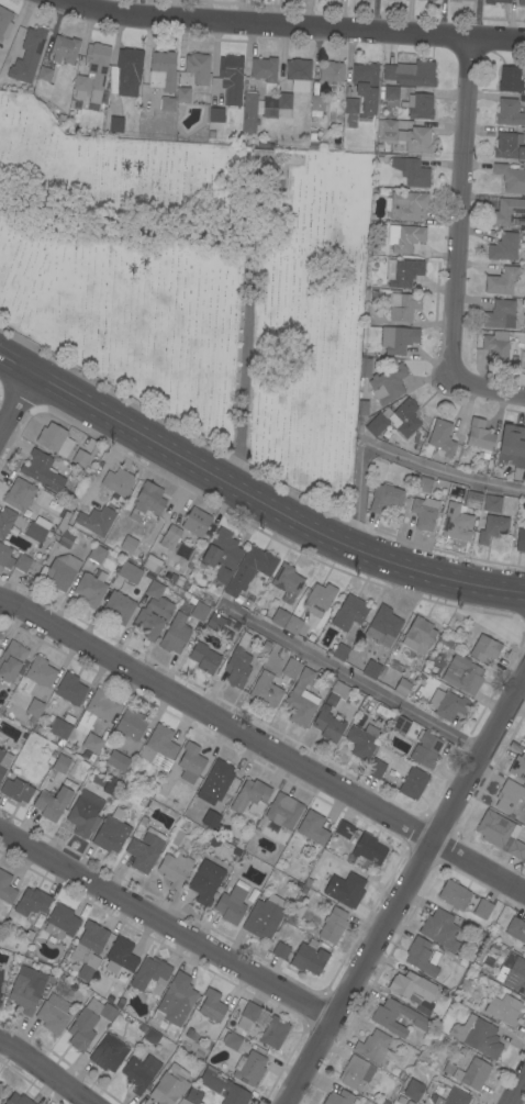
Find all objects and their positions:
building: (431, 0)
building: (461, 0)
building: (495, 1)
building: (521, 2)
building: (4, 22)
road: (288, 30)
building: (64, 49)
building: (27, 56)
building: (80, 67)
building: (198, 67)
building: (264, 69)
building: (127, 70)
building: (163, 71)
building: (331, 71)
building: (92, 73)
building: (298, 74)
building: (411, 74)
building: (112, 79)
building: (231, 79)
building: (511, 79)
building: (43, 81)
building: (67, 90)
building: (388, 92)
building: (182, 94)
building: (361, 94)
building: (200, 99)
building: (283, 100)
building: (269, 102)
building: (316, 102)
building: (53, 103)
building: (70, 103)
building: (167, 103)
building: (403, 103)
building: (420, 105)
building: (249, 112)
building: (509, 113)
building: (215, 114)
building: (115, 124)
building: (405, 135)
building: (524, 135)
building: (509, 146)
building: (411, 171)
building: (511, 178)
road: (455, 199)
building: (406, 205)
building: (506, 212)
building: (406, 238)
building: (506, 246)
building: (521, 256)
building: (402, 272)
building: (501, 281)
park: (198, 285)
building: (373, 292)
building: (403, 306)
building: (500, 314)
building: (517, 336)
building: (398, 339)
building: (495, 346)
building: (366, 368)
building: (388, 384)
road: (478, 388)
road: (16, 404)
building: (361, 415)
building: (395, 420)
building: (479, 437)
building: (442, 438)
building: (54, 439)
building: (513, 449)
building: (462, 451)
road: (394, 454)
building: (79, 458)
building: (454, 464)
building: (42, 471)
building: (118, 482)
building: (424, 484)
building: (19, 494)
building: (384, 497)
road: (254, 498)
building: (472, 500)
building: (147, 501)
building: (491, 503)
building: (423, 514)
building: (5, 521)
building: (94, 521)
building: (196, 522)
building: (456, 523)
building: (523, 523)
building: (491, 527)
building: (36, 533)
building: (65, 538)
building: (170, 538)
building: (520, 539)
building: (129, 544)
building: (97, 554)
building: (221, 555)
building: (5, 557)
building: (22, 562)
building: (152, 564)
building: (249, 569)
building: (59, 571)
building: (129, 572)
building: (287, 582)
building: (90, 589)
building: (154, 589)
building: (319, 599)
building: (119, 607)
building: (199, 611)
building: (348, 613)
building: (150, 616)
building: (279, 617)
building: (216, 624)
building: (292, 625)
building: (383, 626)
building: (175, 634)
building: (418, 635)
building: (266, 645)
building: (484, 648)
building: (338, 651)
building: (203, 658)
building: (11, 660)
building: (237, 663)
building: (291, 668)
building: (370, 669)
building: (40, 672)
building: (462, 674)
road: (349, 680)
building: (402, 688)
building: (70, 689)
building: (265, 690)
building: (336, 693)
building: (301, 699)
building: (450, 706)
building: (34, 710)
building: (94, 711)
building: (346, 714)
building: (131, 724)
building: (327, 724)
building: (401, 725)
building: (59, 728)
building: (524, 739)
building: (364, 741)
building: (92, 744)
building: (159, 748)
road: (261, 749)
building: (425, 749)
building: (116, 760)
building: (4, 761)
building: (190, 762)
building: (60, 763)
building: (517, 767)
building: (376, 769)
building: (220, 779)
building: (412, 783)
building: (15, 790)
building: (509, 795)
building: (250, 798)
building: (52, 803)
building: (283, 811)
building: (85, 814)
building: (313, 827)
building: (344, 829)
building: (111, 832)
building: (501, 834)
building: (176, 837)
building: (369, 849)
building: (145, 850)
building: (175, 869)
building: (206, 879)
building: (5, 889)
road: (401, 889)
building: (347, 890)
building: (454, 894)
building: (32, 902)
building: (231, 905)
building: (297, 908)
building: (482, 908)
building: (264, 916)
building: (59, 923)
road: (163, 925)
building: (333, 925)
building: (439, 929)
building: (516, 929)
building: (89, 941)
building: (281, 950)
building: (120, 956)
building: (421, 957)
building: (309, 958)
building: (473, 967)
building: (0, 971)
building: (85, 973)
building: (149, 973)
building: (513, 973)
building: (1, 975)
building: (412, 988)
building: (26, 989)
building: (0, 995)
building: (177, 1000)
building: (211, 1006)
building: (503, 1010)
building: (53, 1014)
building: (247, 1015)
building: (383, 1016)
building: (88, 1023)
building: (460, 1028)
building: (272, 1031)
building: (480, 1037)
building: (231, 1040)
building: (373, 1047)
building: (109, 1053)
building: (447, 1067)
building: (248, 1069)
building: (356, 1072)
road: (43, 1073)
building: (472, 1073)
building: (137, 1074)
building: (0, 1080)
building: (223, 1086)
road: (516, 1088)
building: (168, 1089)
building: (413, 1090)
building: (193, 1096)
building: (338, 1097)
building: (454, 1097)
building: (18, 1100)

